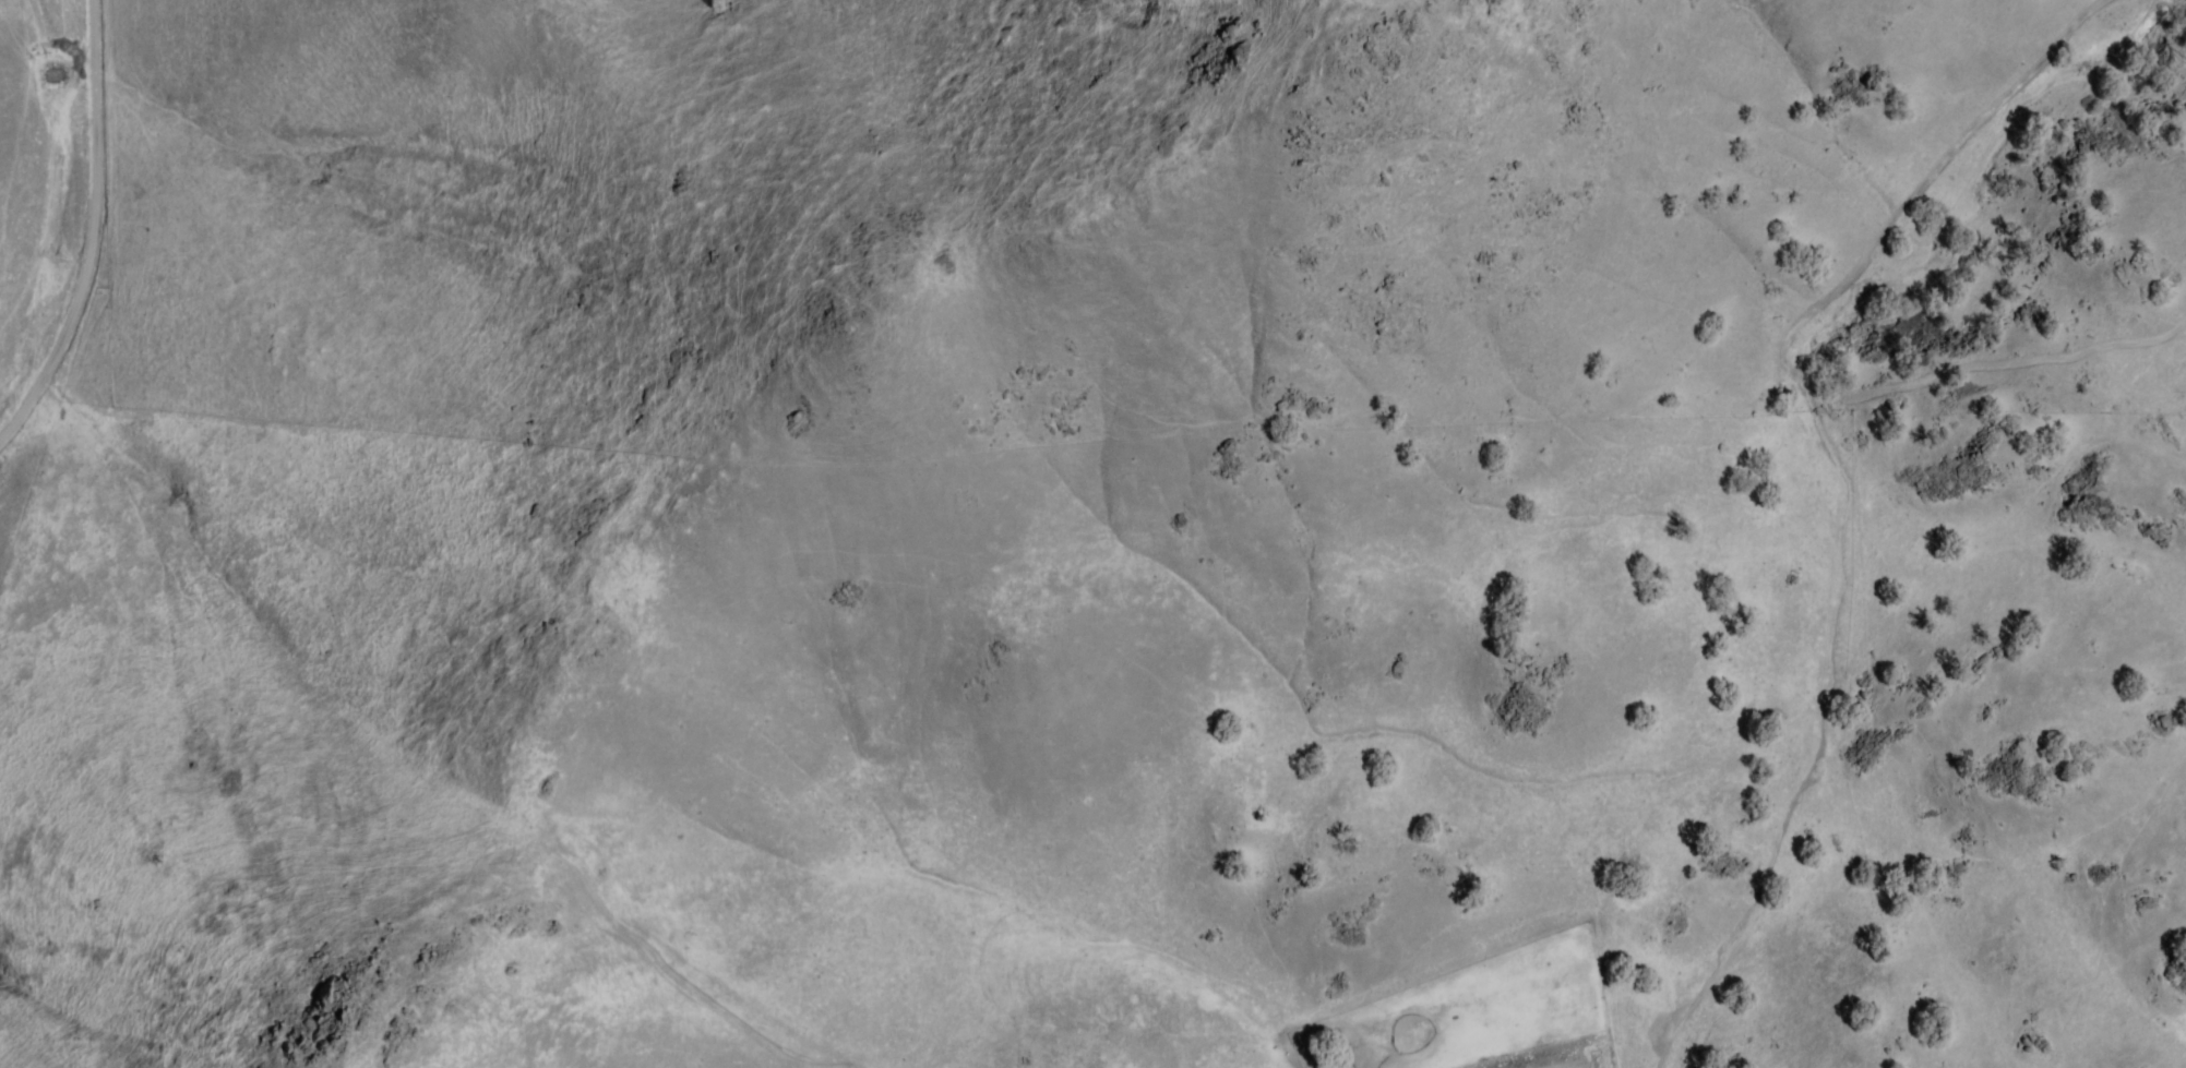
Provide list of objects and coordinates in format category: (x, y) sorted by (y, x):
road: (100, 236)

